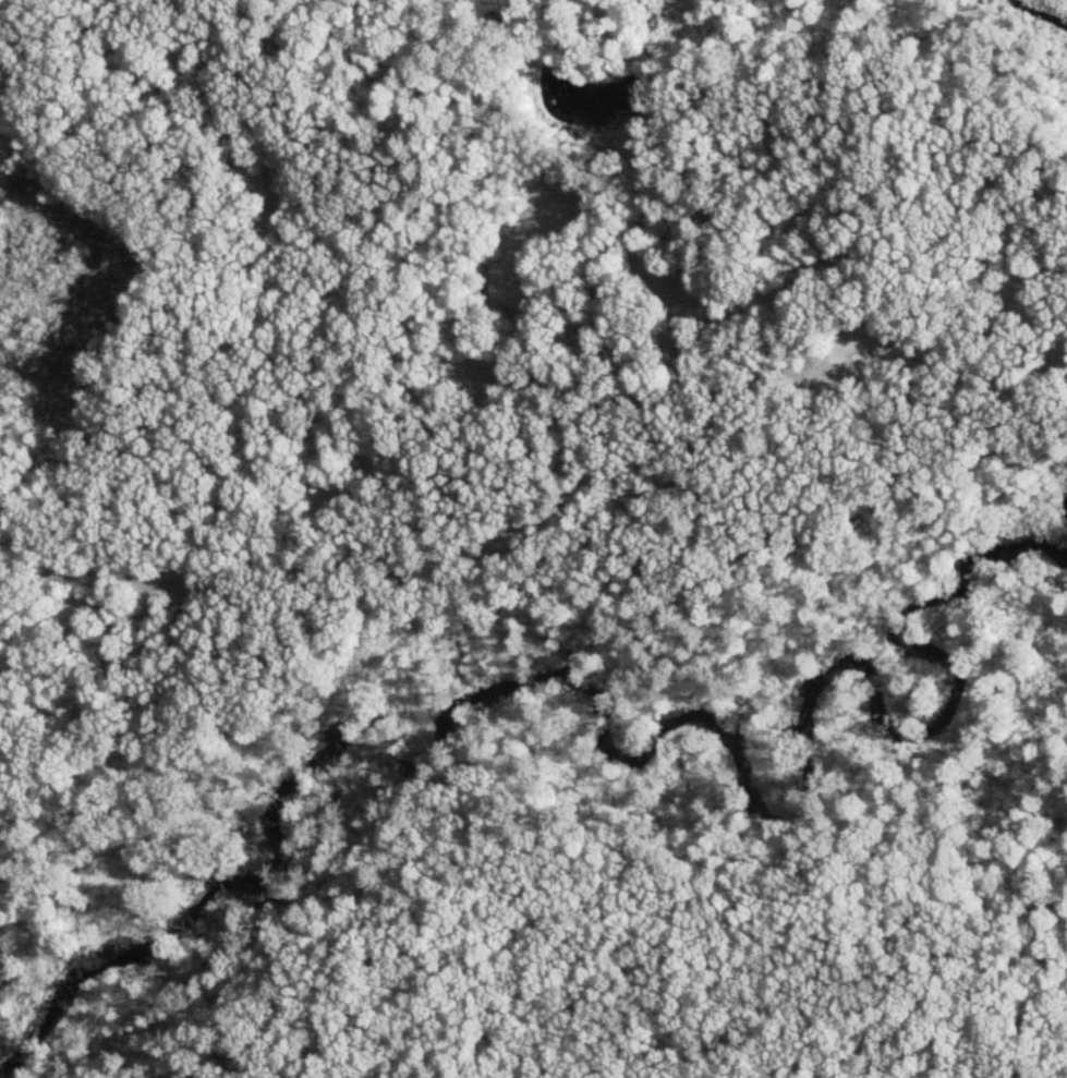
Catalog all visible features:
building: (591, 106)
road: (551, 477)
road: (750, 941)
road: (745, 1022)

